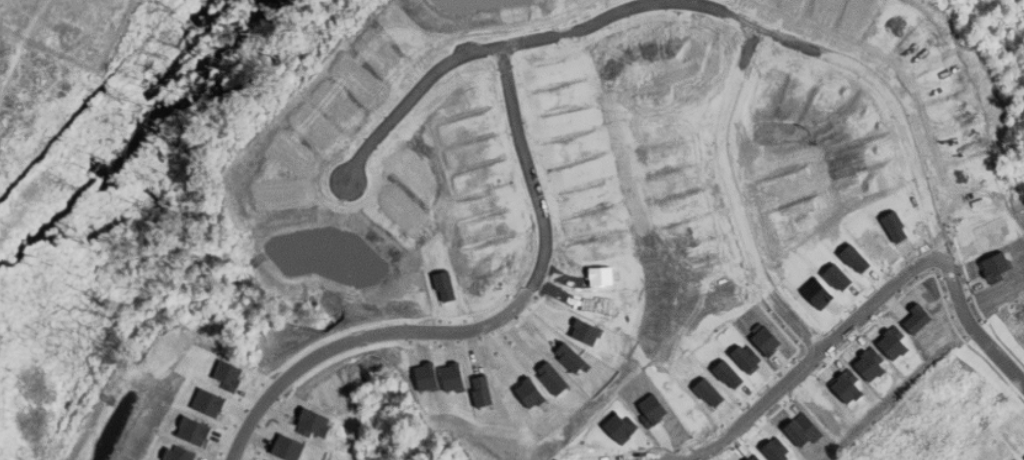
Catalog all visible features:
road: (538, 43)
road: (418, 91)
road: (738, 202)
building: (569, 356)
road: (808, 364)
road: (1003, 370)
building: (559, 385)

